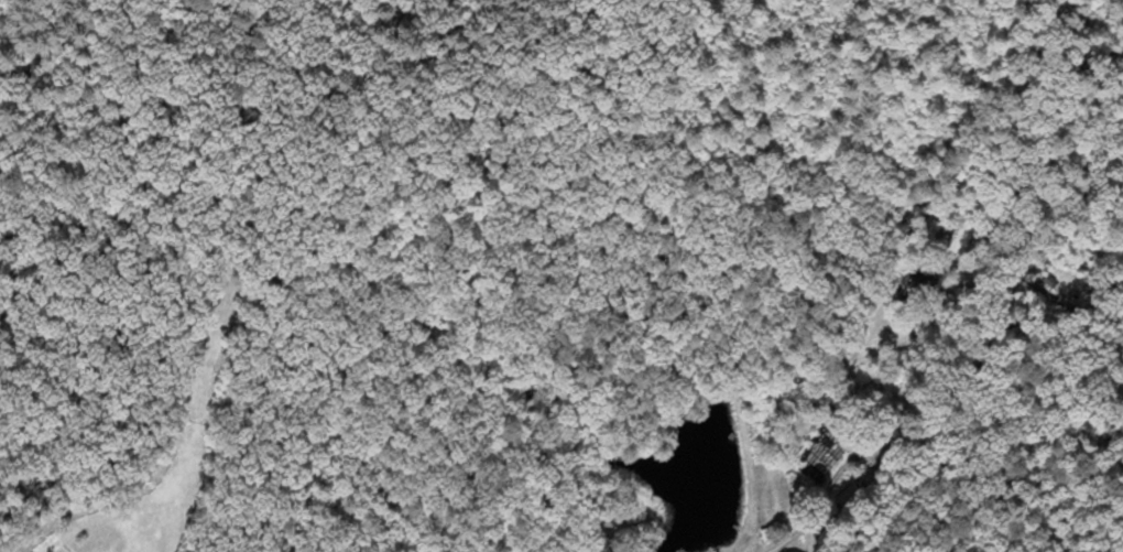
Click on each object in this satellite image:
road: (135, 301)
road: (752, 542)

